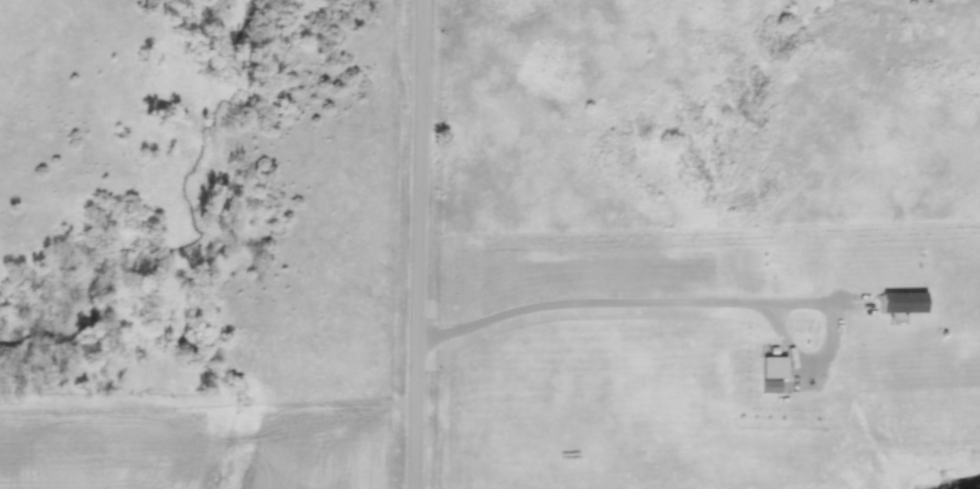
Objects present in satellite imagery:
road: (422, 244)
road: (693, 303)

